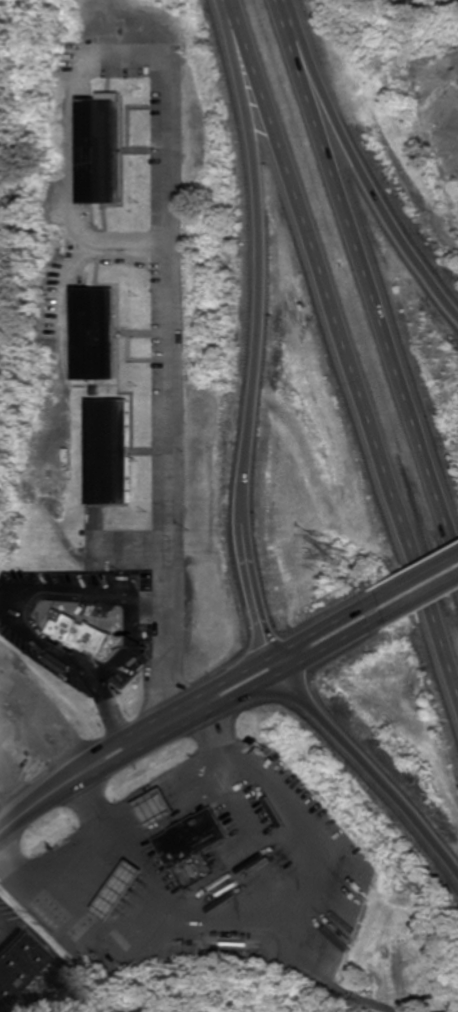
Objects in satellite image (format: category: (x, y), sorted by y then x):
road: (372, 184)
road: (369, 271)
road: (342, 354)
road: (254, 365)
power tower: (339, 553)
road: (416, 577)
road: (420, 597)
road: (321, 628)
road: (329, 646)
road: (272, 666)
road: (170, 711)
road: (183, 732)
road: (371, 770)
building: (148, 806)
road: (42, 807)
building: (185, 835)
building: (112, 888)
road: (291, 979)
building: (9, 982)
road: (329, 985)
road: (152, 992)

